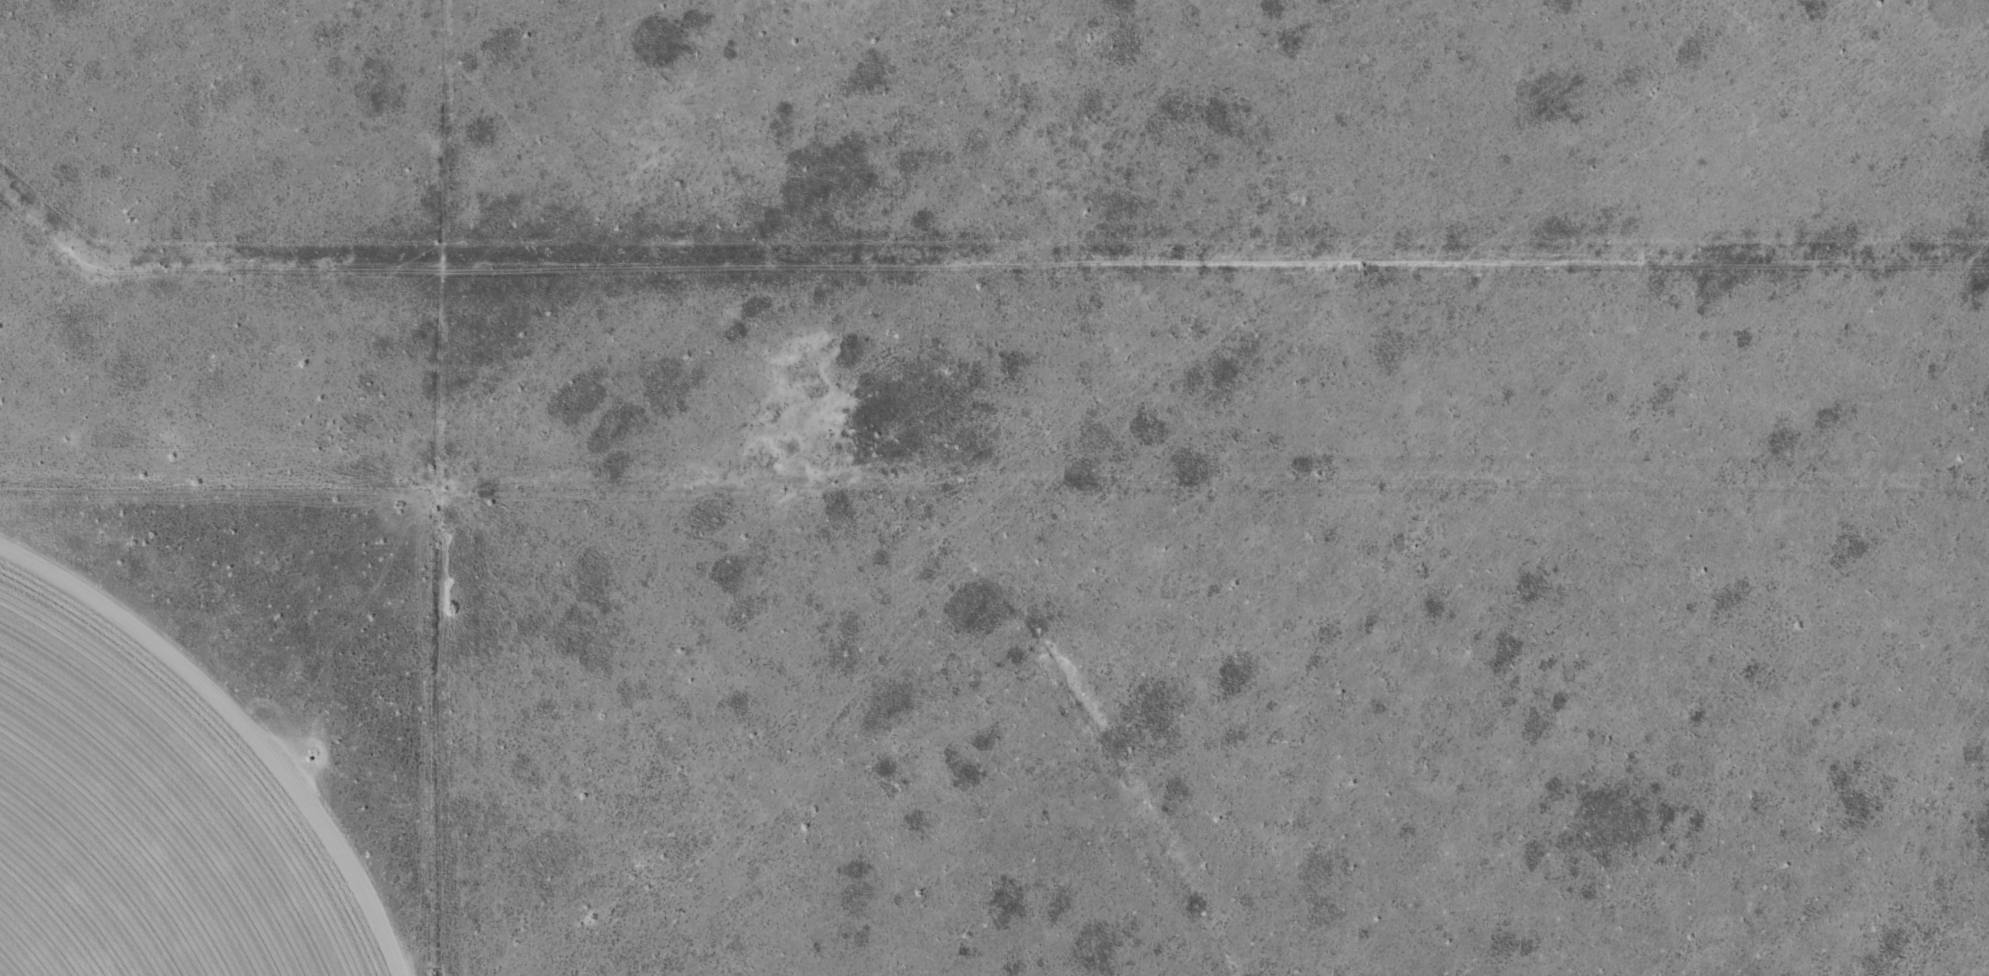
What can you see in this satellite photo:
road: (448, 488)
road: (994, 506)

